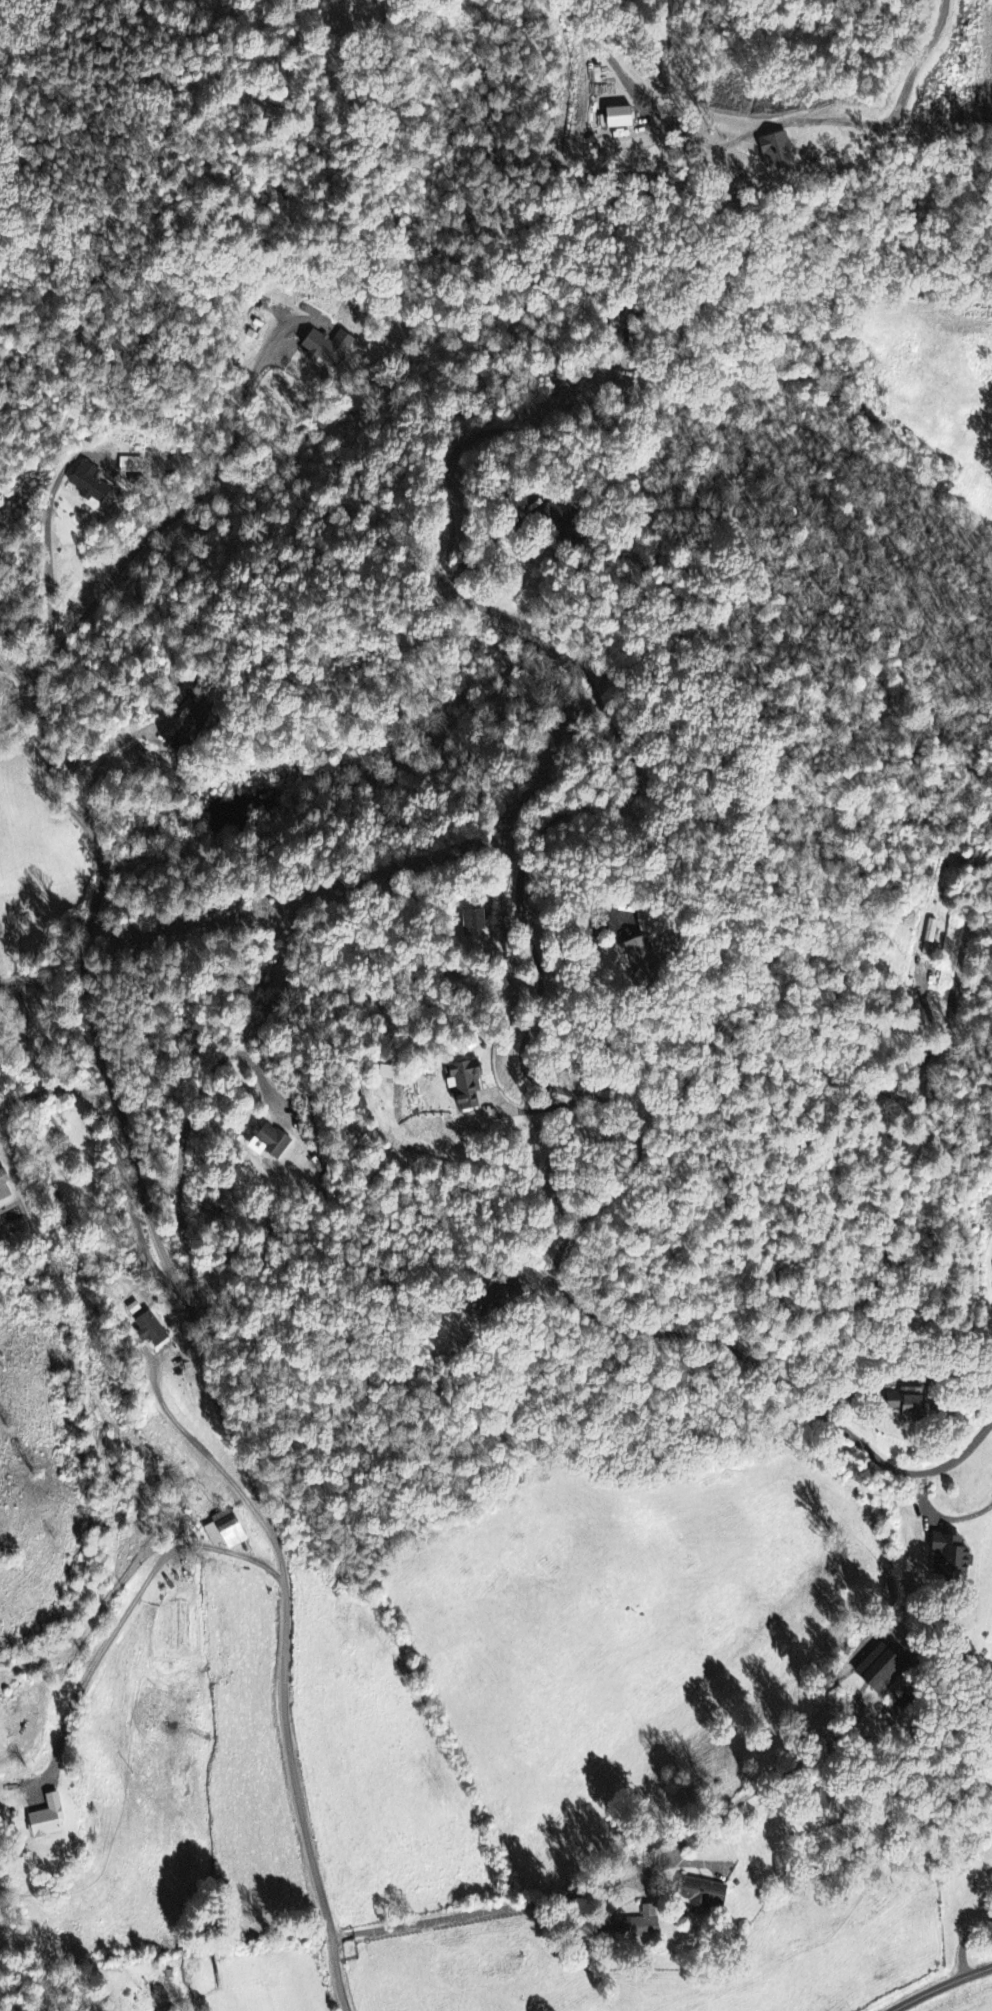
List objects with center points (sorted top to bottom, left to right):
building: (329, 348)
building: (132, 465)
building: (90, 482)
building: (559, 517)
road: (44, 576)
building: (189, 731)
building: (473, 920)
building: (928, 938)
building: (646, 961)
road: (60, 1018)
building: (466, 1085)
building: (273, 1143)
building: (5, 1187)
building: (989, 1205)
building: (499, 1296)
road: (184, 1323)
building: (151, 1330)
road: (739, 1364)
building: (907, 1402)
road: (957, 1459)
road: (948, 1522)
building: (226, 1531)
building: (942, 1557)
building: (865, 1670)
building: (50, 1819)
road: (613, 1882)
building: (695, 1894)
building: (630, 1924)
road: (940, 1986)

